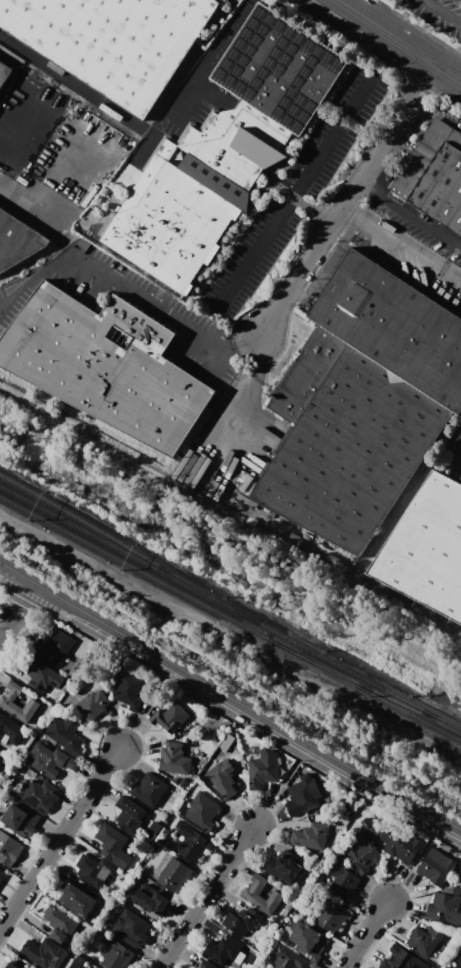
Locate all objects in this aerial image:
road: (442, 12)
parking lot: (438, 14)
road: (418, 26)
road: (224, 37)
building: (112, 40)
road: (398, 41)
building: (4, 74)
road: (420, 85)
road: (184, 96)
road: (444, 98)
road: (375, 131)
road: (330, 133)
road: (22, 144)
building: (226, 148)
road: (53, 167)
building: (434, 177)
road: (347, 200)
road: (31, 206)
road: (311, 208)
road: (410, 214)
building: (17, 241)
road: (401, 247)
road: (251, 252)
road: (112, 277)
road: (304, 287)
road: (242, 341)
road: (257, 357)
road: (216, 360)
building: (105, 365)
building: (361, 403)
road: (224, 425)
railway: (113, 540)
railway: (113, 546)
building: (426, 549)
railway: (110, 554)
road: (17, 575)
road: (48, 594)
road: (16, 611)
road: (83, 614)
railway: (262, 633)
building: (52, 646)
road: (151, 655)
railway: (343, 667)
building: (41, 675)
building: (129, 691)
railway: (382, 693)
railway: (382, 696)
building: (7, 699)
building: (89, 707)
road: (147, 708)
building: (170, 717)
building: (9, 731)
building: (65, 735)
building: (174, 758)
road: (329, 758)
building: (50, 760)
building: (264, 767)
building: (222, 779)
road: (281, 786)
building: (149, 790)
building: (39, 795)
building: (303, 795)
building: (202, 810)
building: (128, 814)
building: (21, 820)
building: (151, 831)
building: (307, 833)
building: (162, 835)
road: (60, 838)
building: (191, 843)
building: (112, 844)
building: (156, 846)
building: (401, 847)
building: (8, 848)
building: (362, 853)
road: (415, 862)
building: (435, 866)
building: (284, 867)
building: (94, 870)
building: (2, 873)
building: (173, 876)
building: (342, 880)
building: (276, 894)
road: (207, 897)
building: (78, 899)
building: (150, 899)
building: (444, 909)
building: (332, 917)
building: (60, 919)
building: (241, 921)
building: (130, 928)
road: (366, 935)
building: (307, 940)
building: (423, 940)
building: (222, 949)
building: (44, 953)
building: (115, 953)
building: (287, 958)
building: (400, 959)
building: (206, 964)
building: (459, 964)
building: (11, 965)
building: (88, 966)
building: (189, 967)
building: (449, 967)

